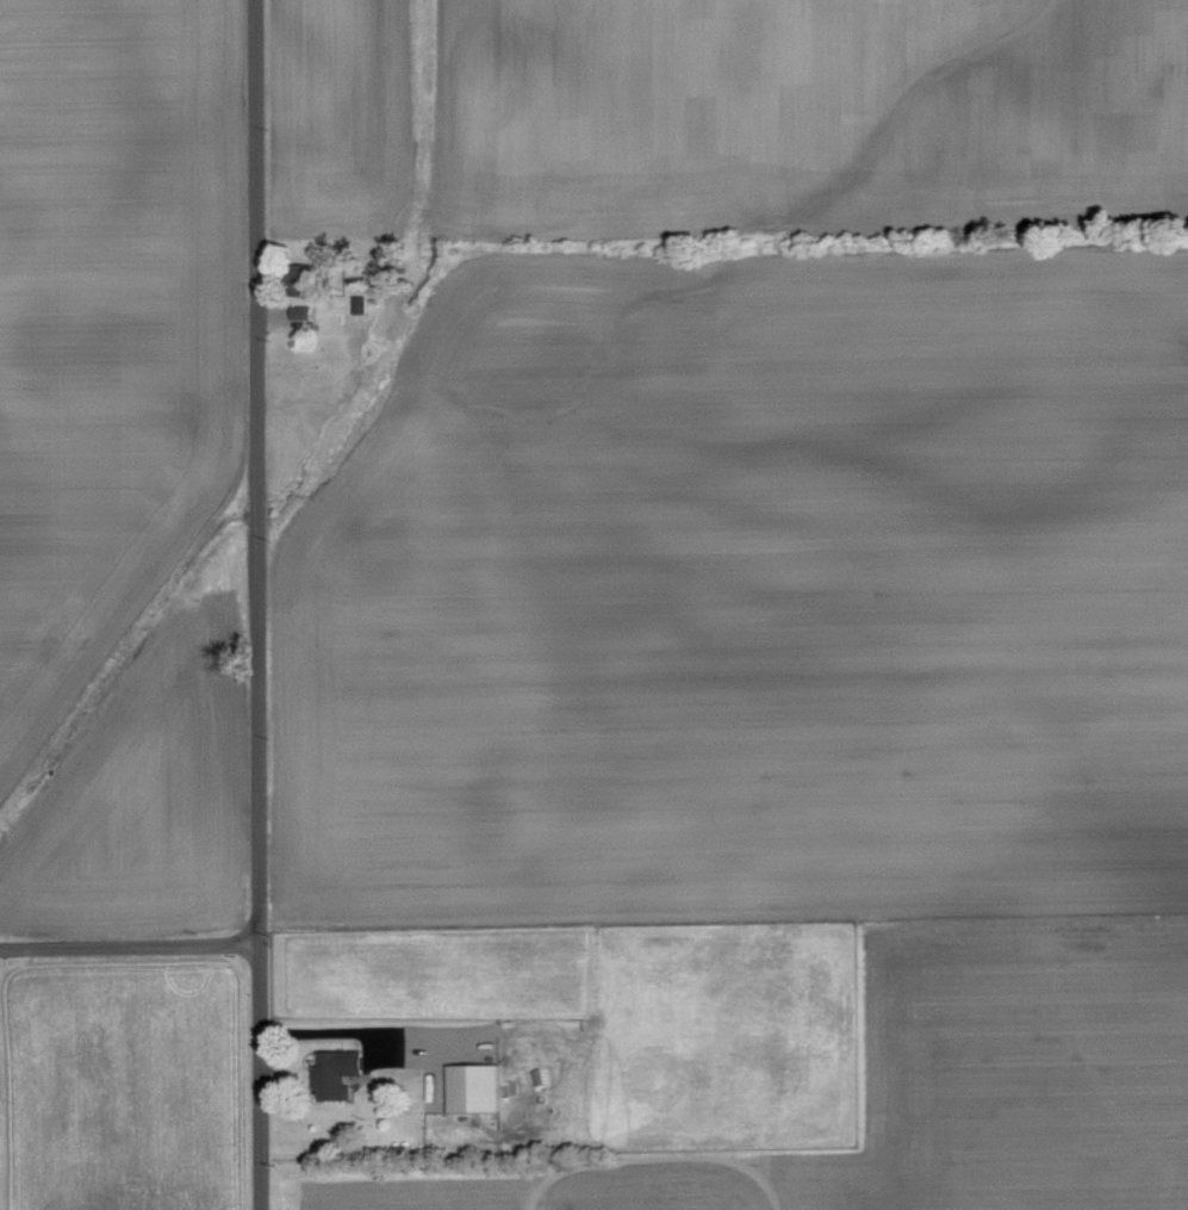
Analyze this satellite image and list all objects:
building: (310, 278)
building: (303, 312)
road: (254, 604)
road: (129, 943)
road: (317, 1032)
building: (341, 1073)
building: (475, 1087)

